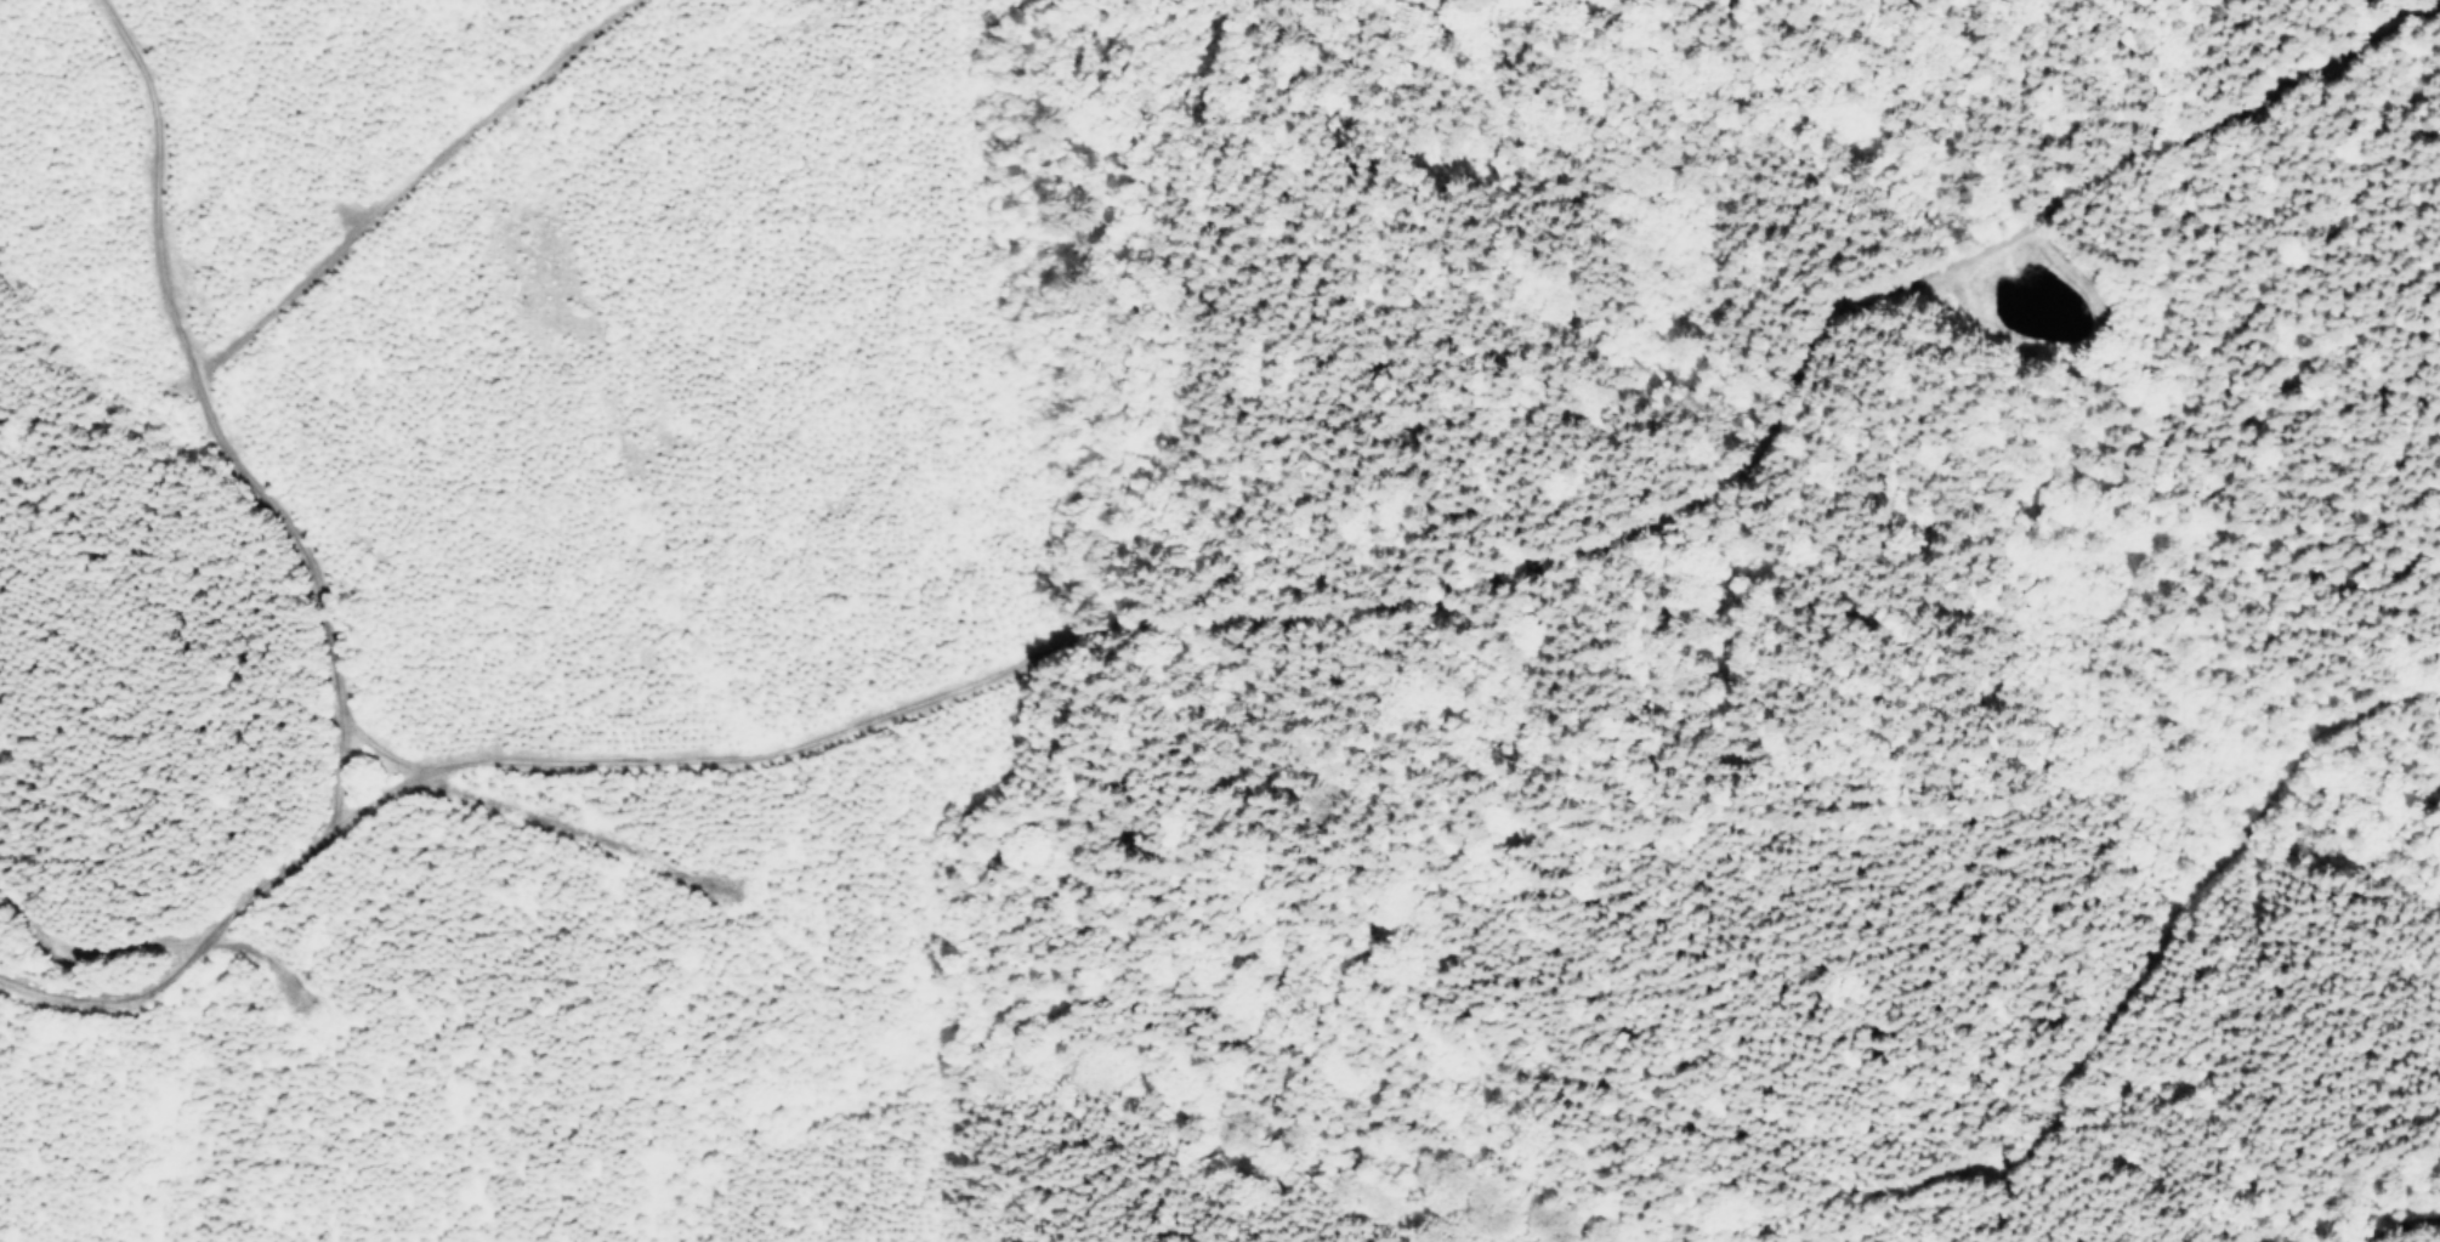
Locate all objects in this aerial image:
road: (2436, 1238)

